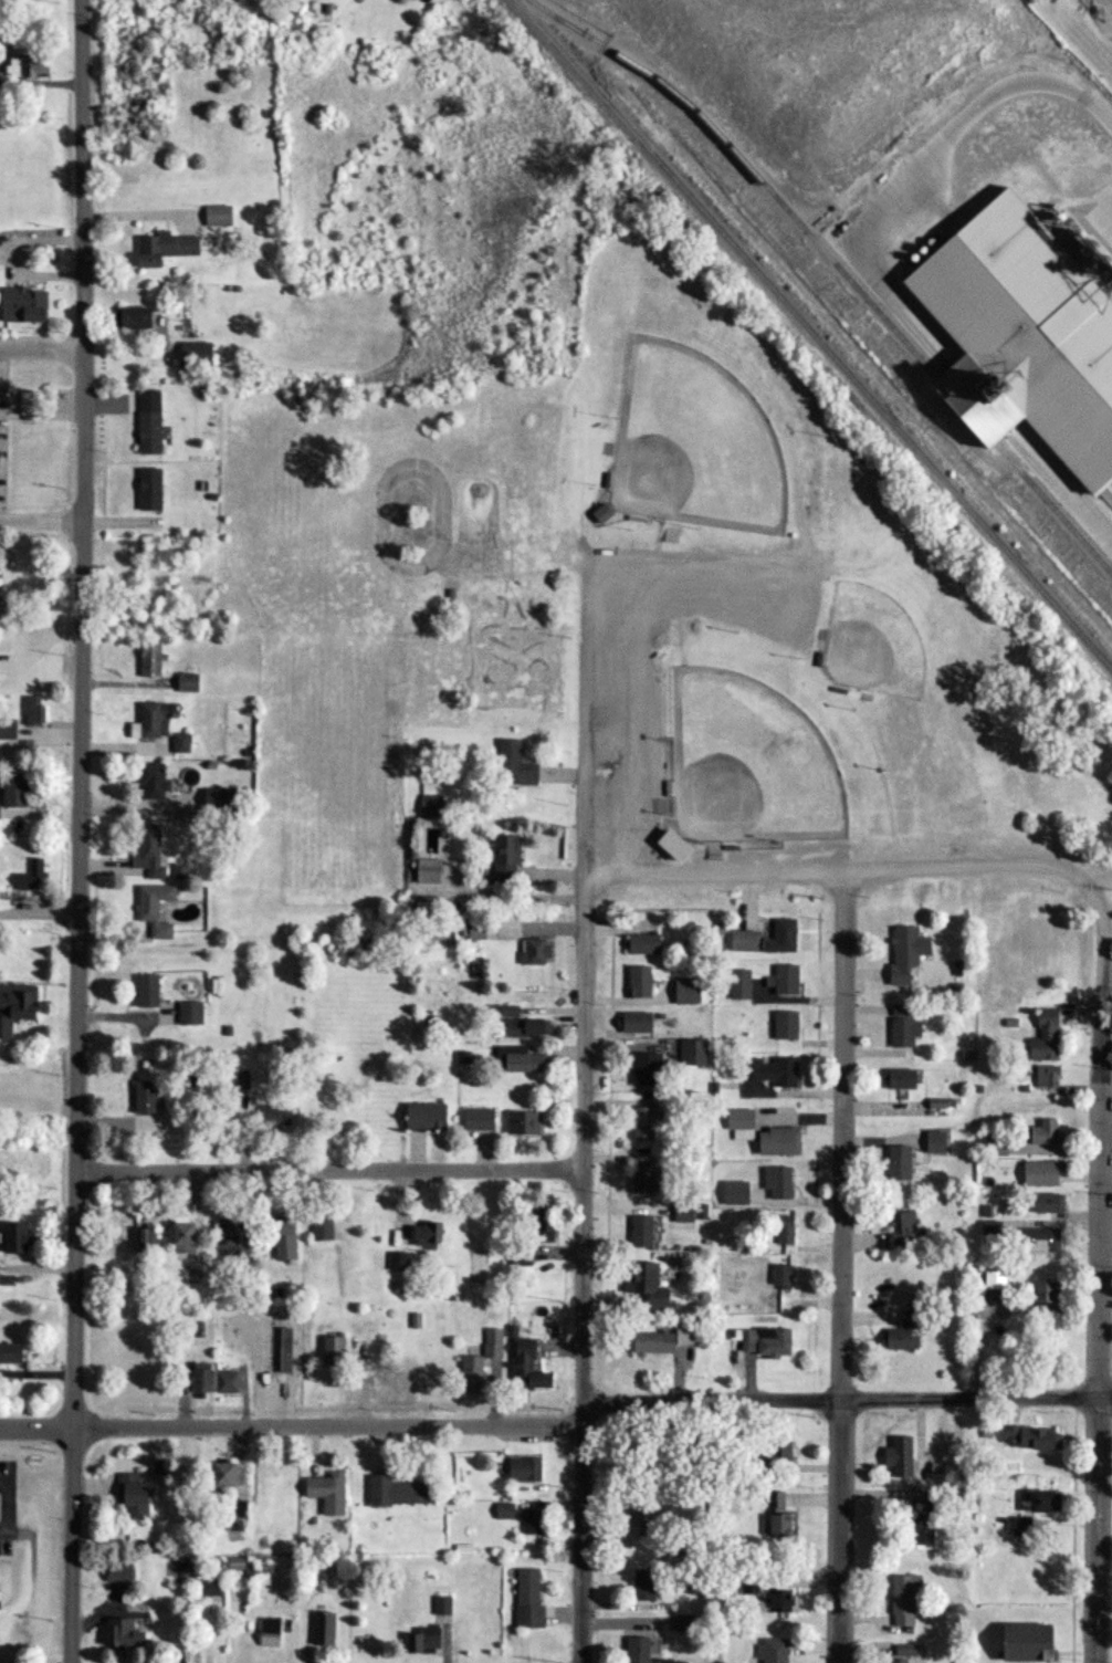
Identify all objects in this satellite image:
building: (7, 35)
building: (29, 66)
road: (971, 123)
building: (216, 216)
road: (144, 228)
building: (159, 249)
building: (21, 304)
building: (128, 318)
railway: (812, 335)
road: (40, 345)
building: (193, 353)
building: (146, 422)
park: (693, 442)
building: (145, 490)
building: (599, 514)
road: (41, 523)
park: (802, 608)
park: (870, 644)
building: (148, 659)
building: (186, 683)
building: (31, 711)
building: (149, 721)
building: (179, 743)
park: (746, 763)
building: (512, 764)
building: (150, 781)
building: (14, 789)
building: (429, 805)
road: (80, 831)
building: (669, 846)
building: (146, 849)
building: (503, 858)
building: (426, 870)
building: (29, 876)
road: (828, 883)
building: (153, 910)
road: (40, 918)
building: (474, 930)
building: (779, 937)
building: (741, 941)
building: (640, 944)
building: (532, 951)
building: (903, 953)
building: (783, 981)
building: (636, 982)
building: (736, 985)
building: (145, 992)
building: (680, 992)
building: (14, 1006)
building: (188, 1013)
building: (517, 1023)
building: (632, 1023)
building: (783, 1026)
building: (900, 1026)
building: (1045, 1036)
building: (691, 1053)
building: (517, 1060)
building: (643, 1064)
building: (765, 1071)
building: (1046, 1078)
building: (899, 1079)
building: (141, 1097)
building: (274, 1117)
building: (422, 1117)
building: (475, 1119)
building: (736, 1120)
road: (584, 1122)
building: (522, 1123)
building: (641, 1123)
building: (1042, 1133)
building: (775, 1141)
building: (932, 1142)
building: (895, 1163)
building: (932, 1171)
building: (1039, 1173)
road: (331, 1175)
building: (639, 1178)
building: (777, 1182)
building: (732, 1192)
building: (1045, 1203)
building: (665, 1209)
building: (321, 1230)
building: (783, 1230)
building: (901, 1230)
building: (638, 1231)
building: (223, 1234)
building: (422, 1235)
building: (527, 1236)
building: (12, 1238)
building: (177, 1238)
building: (281, 1240)
building: (1038, 1240)
road: (1101, 1261)
building: (395, 1262)
road: (842, 1273)
building: (778, 1276)
building: (649, 1286)
building: (1038, 1295)
building: (903, 1335)
building: (669, 1342)
building: (762, 1342)
building: (335, 1353)
building: (13, 1356)
building: (483, 1359)
building: (529, 1369)
building: (214, 1381)
road: (845, 1408)
road: (292, 1426)
building: (1038, 1440)
building: (783, 1444)
building: (902, 1456)
building: (524, 1471)
building: (230, 1472)
building: (329, 1492)
building: (401, 1492)
building: (136, 1495)
building: (1048, 1500)
building: (640, 1507)
building: (504, 1512)
road: (8, 1513)
building: (532, 1523)
building: (781, 1523)
building: (925, 1525)
building: (1021, 1527)
building: (243, 1563)
building: (122, 1573)
building: (643, 1587)
building: (211, 1588)
building: (749, 1590)
building: (528, 1599)
building: (783, 1599)
building: (906, 1599)
building: (688, 1623)
building: (325, 1629)
building: (271, 1632)
building: (128, 1633)
building: (424, 1640)
building: (1034, 1642)
building: (638, 1650)
building: (773, 1651)
building: (909, 1654)

